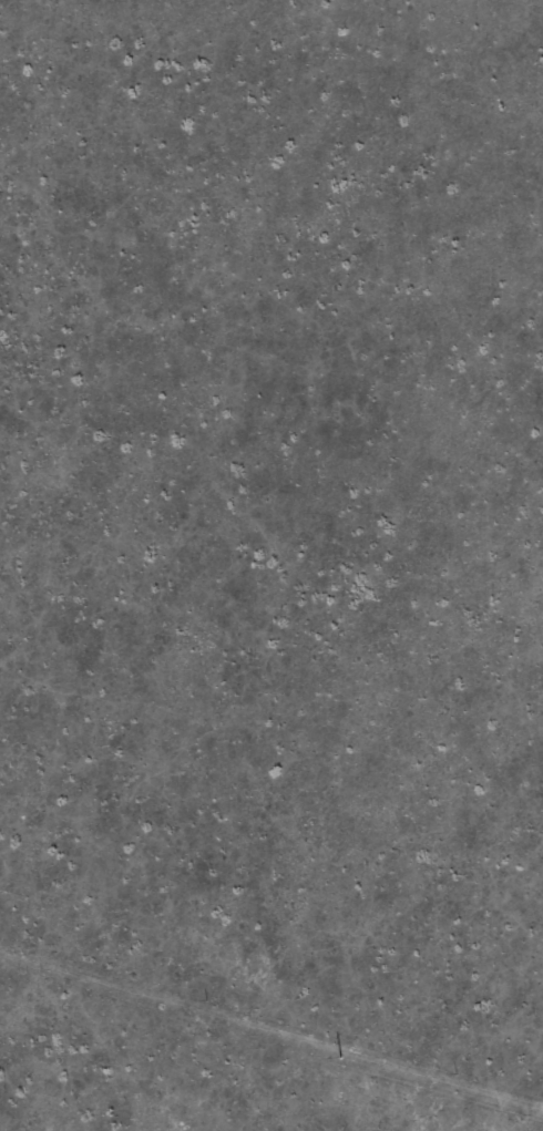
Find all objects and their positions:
power tower: (341, 1058)

